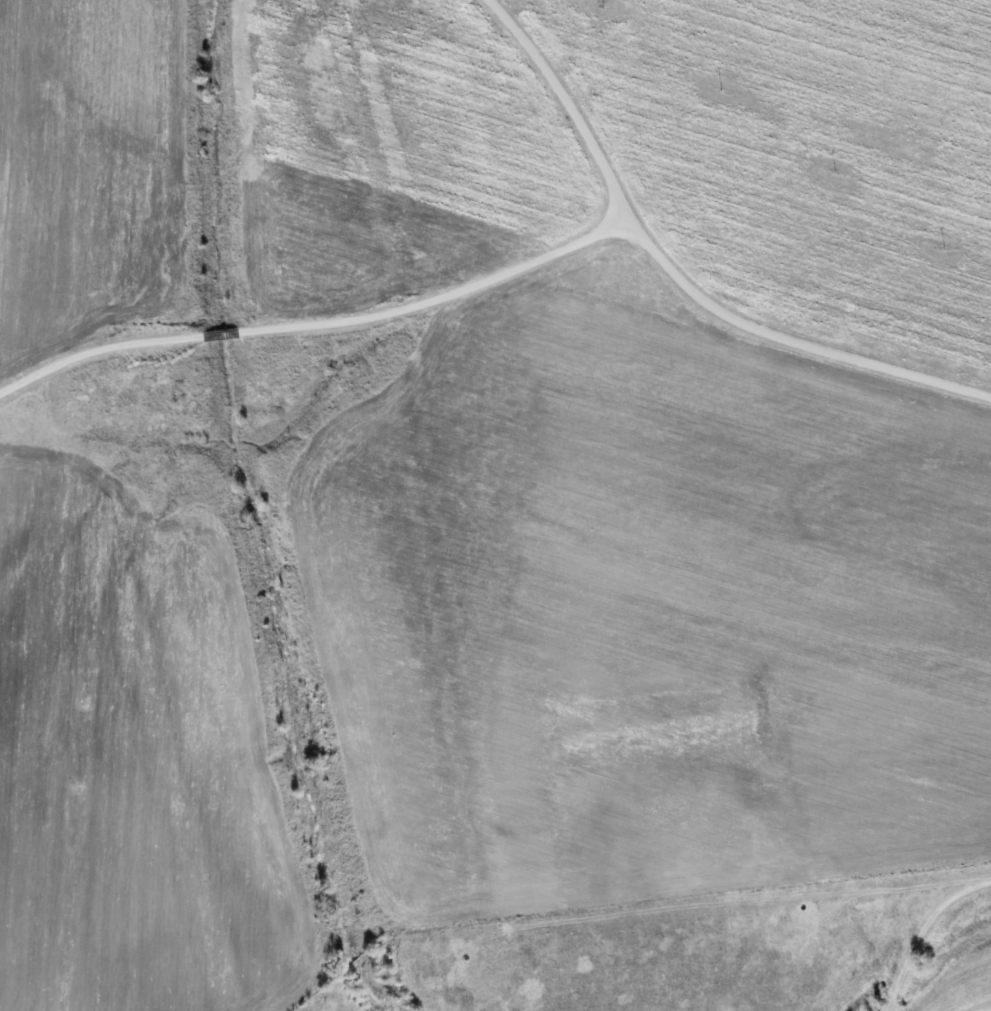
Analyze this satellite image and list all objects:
road: (559, 106)
road: (508, 263)
road: (925, 931)

